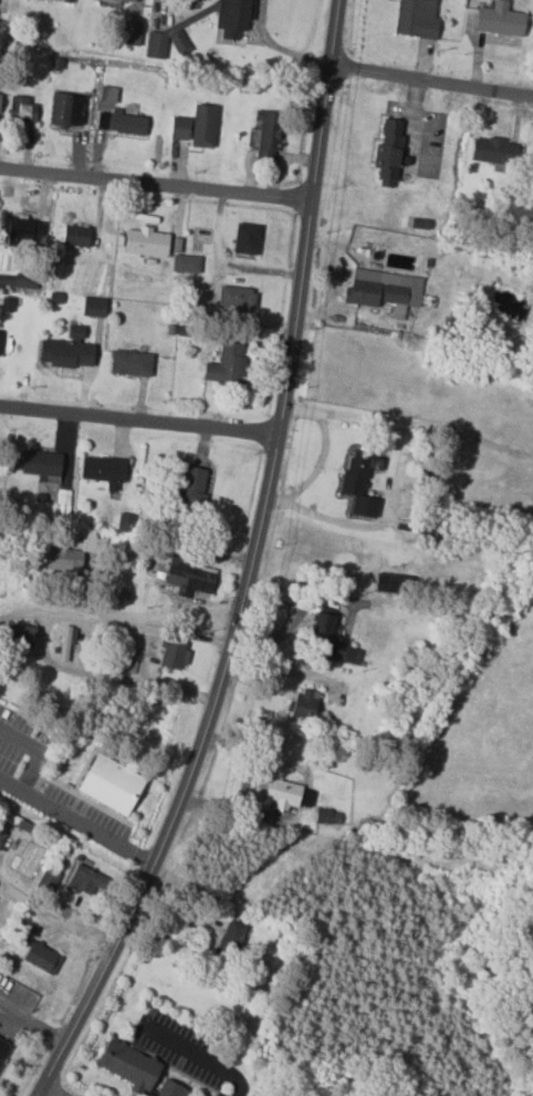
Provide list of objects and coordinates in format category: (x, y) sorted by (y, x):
building: (67, 1)
building: (111, 2)
building: (233, 18)
building: (417, 19)
building: (500, 19)
building: (130, 32)
building: (166, 43)
road: (430, 80)
building: (21, 110)
building: (66, 110)
building: (203, 125)
building: (179, 127)
building: (268, 133)
building: (494, 151)
building: (389, 153)
road: (156, 183)
building: (22, 231)
building: (75, 236)
building: (247, 238)
building: (146, 242)
building: (186, 263)
building: (18, 281)
building: (380, 291)
building: (237, 298)
building: (94, 307)
building: (0, 335)
building: (67, 351)
building: (130, 363)
building: (227, 363)
road: (135, 424)
road: (322, 455)
building: (42, 465)
building: (104, 471)
building: (360, 483)
building: (192, 488)
building: (74, 554)
road: (247, 566)
building: (188, 577)
building: (393, 583)
road: (107, 623)
building: (326, 633)
building: (21, 634)
building: (66, 641)
building: (347, 654)
building: (174, 656)
road: (282, 670)
road: (105, 680)
building: (306, 704)
building: (111, 785)
building: (289, 795)
road: (74, 823)
building: (1, 837)
building: (49, 878)
building: (84, 880)
road: (55, 914)
building: (230, 939)
building: (42, 958)
road: (31, 1025)
building: (3, 1048)
road: (199, 1057)
building: (137, 1069)
road: (53, 1089)

